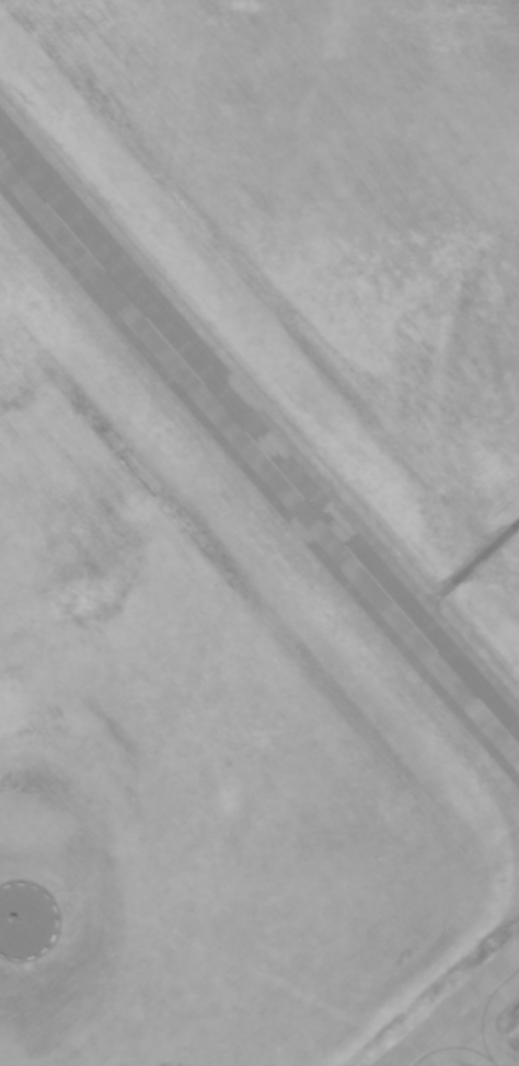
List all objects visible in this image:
airport runway: (259, 445)
airport: (259, 533)
airport runway: (465, 1017)
airport taxiway: (483, 1042)

